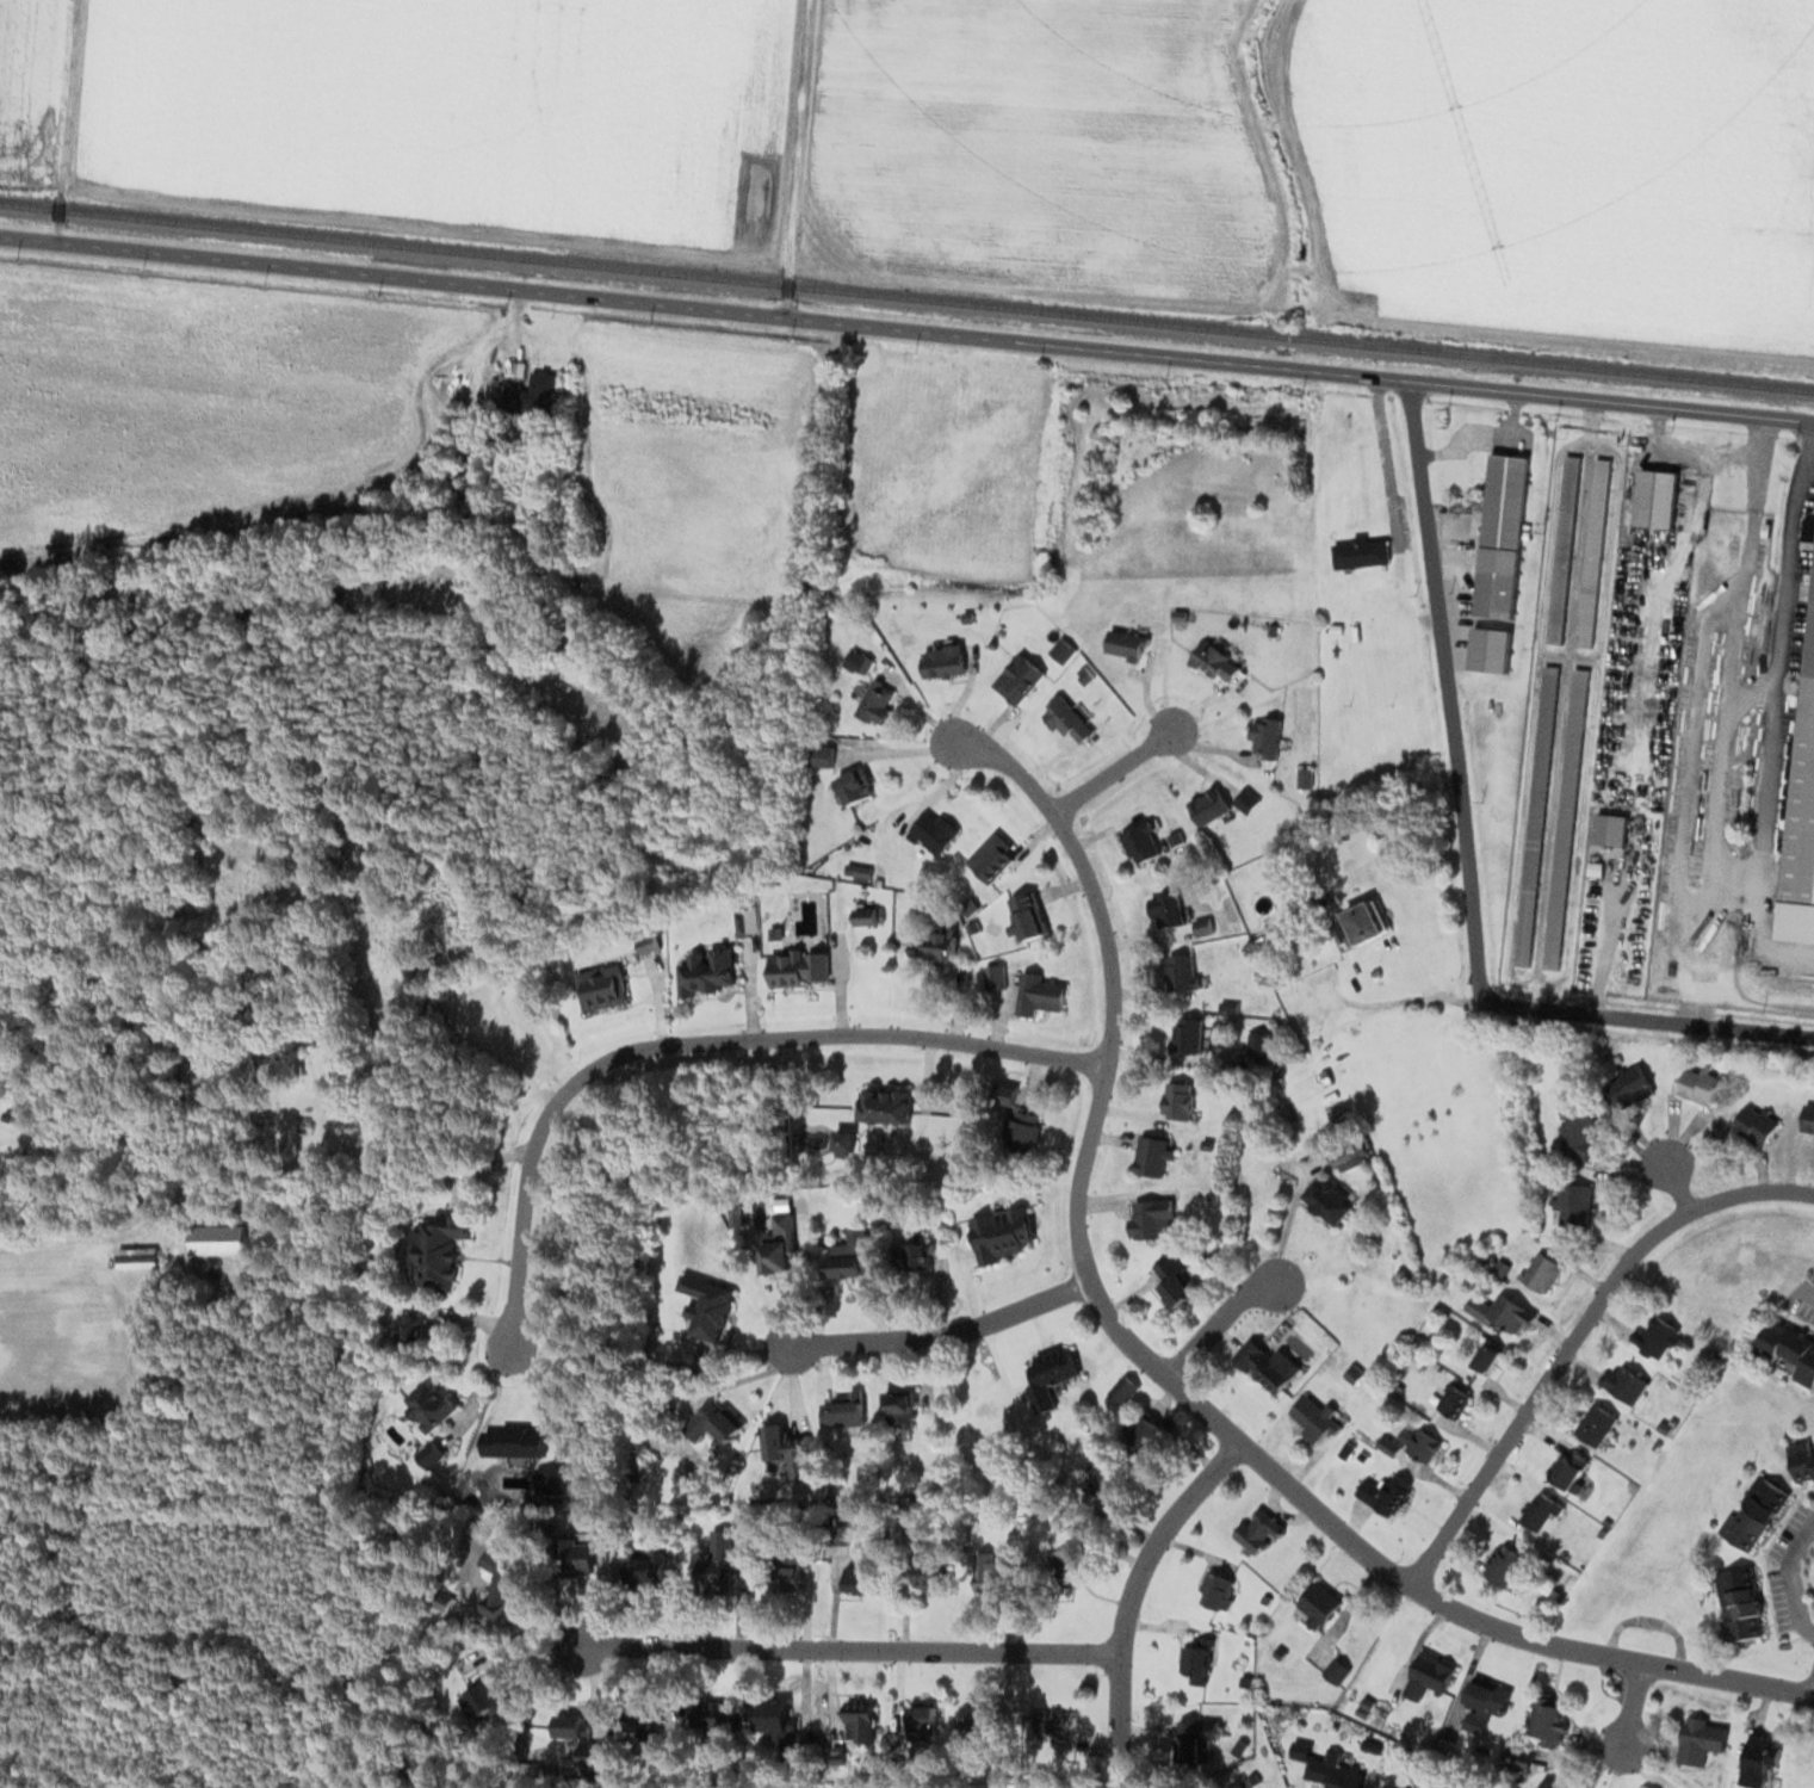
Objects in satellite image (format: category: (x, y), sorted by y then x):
road: (793, 156)
railway: (906, 298)
road: (906, 329)
building: (530, 395)
road: (1385, 464)
building: (1659, 500)
building: (1504, 503)
building: (1562, 547)
building: (1591, 550)
building: (1358, 551)
building: (1123, 643)
building: (1491, 650)
building: (941, 660)
building: (1212, 660)
building: (1016, 676)
road: (1441, 694)
road: (1775, 694)
building: (874, 701)
building: (1065, 718)
building: (1263, 734)
building: (819, 754)
building: (1803, 762)
road: (1112, 765)
building: (850, 785)
building: (1207, 805)
building: (1535, 821)
building: (1566, 823)
building: (1608, 828)
building: (931, 829)
building: (1139, 841)
road: (750, 852)
building: (991, 856)
building: (1160, 909)
building: (1027, 914)
building: (862, 915)
building: (1358, 924)
building: (937, 944)
building: (797, 967)
building: (706, 970)
building: (1181, 973)
building: (600, 986)
building: (1038, 994)
road: (1645, 1021)
building: (1185, 1034)
road: (688, 1040)
building: (1256, 1043)
building: (191, 1074)
building: (1628, 1085)
building: (1697, 1085)
building: (1176, 1100)
building: (883, 1105)
building: (5, 1115)
building: (1807, 1116)
building: (1753, 1125)
building: (1020, 1128)
building: (1577, 1134)
building: (842, 1139)
building: (1150, 1155)
road: (1673, 1183)
building: (997, 1199)
building: (1325, 1199)
building: (1570, 1202)
building: (1147, 1217)
building: (1001, 1232)
road: (95, 1235)
building: (215, 1238)
building: (778, 1244)
building: (438, 1248)
building: (847, 1254)
building: (914, 1255)
building: (1540, 1273)
building: (1170, 1282)
road: (1804, 1291)
building: (704, 1306)
building: (1500, 1312)
road: (1216, 1319)
building: (405, 1329)
road: (1573, 1332)
building: (1655, 1336)
road: (936, 1337)
building: (1787, 1349)
building: (1485, 1356)
building: (1264, 1363)
building: (1047, 1375)
road: (1168, 1376)
building: (1623, 1382)
building: (1119, 1385)
building: (1453, 1399)
building: (427, 1404)
building: (897, 1406)
building: (842, 1410)
building: (1312, 1417)
building: (716, 1421)
building: (1593, 1424)
building: (1143, 1433)
building: (1417, 1442)
building: (786, 1449)
building: (1802, 1459)
building: (1566, 1468)
building: (1102, 1481)
building: (1382, 1491)
building: (1540, 1512)
building: (1753, 1512)
building: (1256, 1530)
building: (574, 1557)
building: (1502, 1565)
building: (642, 1570)
building: (710, 1570)
building: (986, 1571)
building: (927, 1573)
building: (792, 1574)
building: (859, 1574)
road: (1790, 1579)
building: (497, 1586)
building: (1215, 1590)
road: (1131, 1595)
building: (1735, 1603)
building: (1315, 1607)
road: (849, 1646)
building: (1193, 1663)
building: (1428, 1675)
building: (476, 1687)
building: (1481, 1705)
building: (770, 1715)
building: (707, 1716)
building: (976, 1716)
road: (1628, 1716)
building: (921, 1718)
building: (1548, 1720)
building: (642, 1722)
building: (858, 1724)
building: (1053, 1724)
building: (567, 1727)
building: (1700, 1739)
building: (1193, 1740)
building: (1518, 1758)
building: (1757, 1761)
building: (1331, 1775)
building: (1546, 1784)
building: (1405, 1787)

